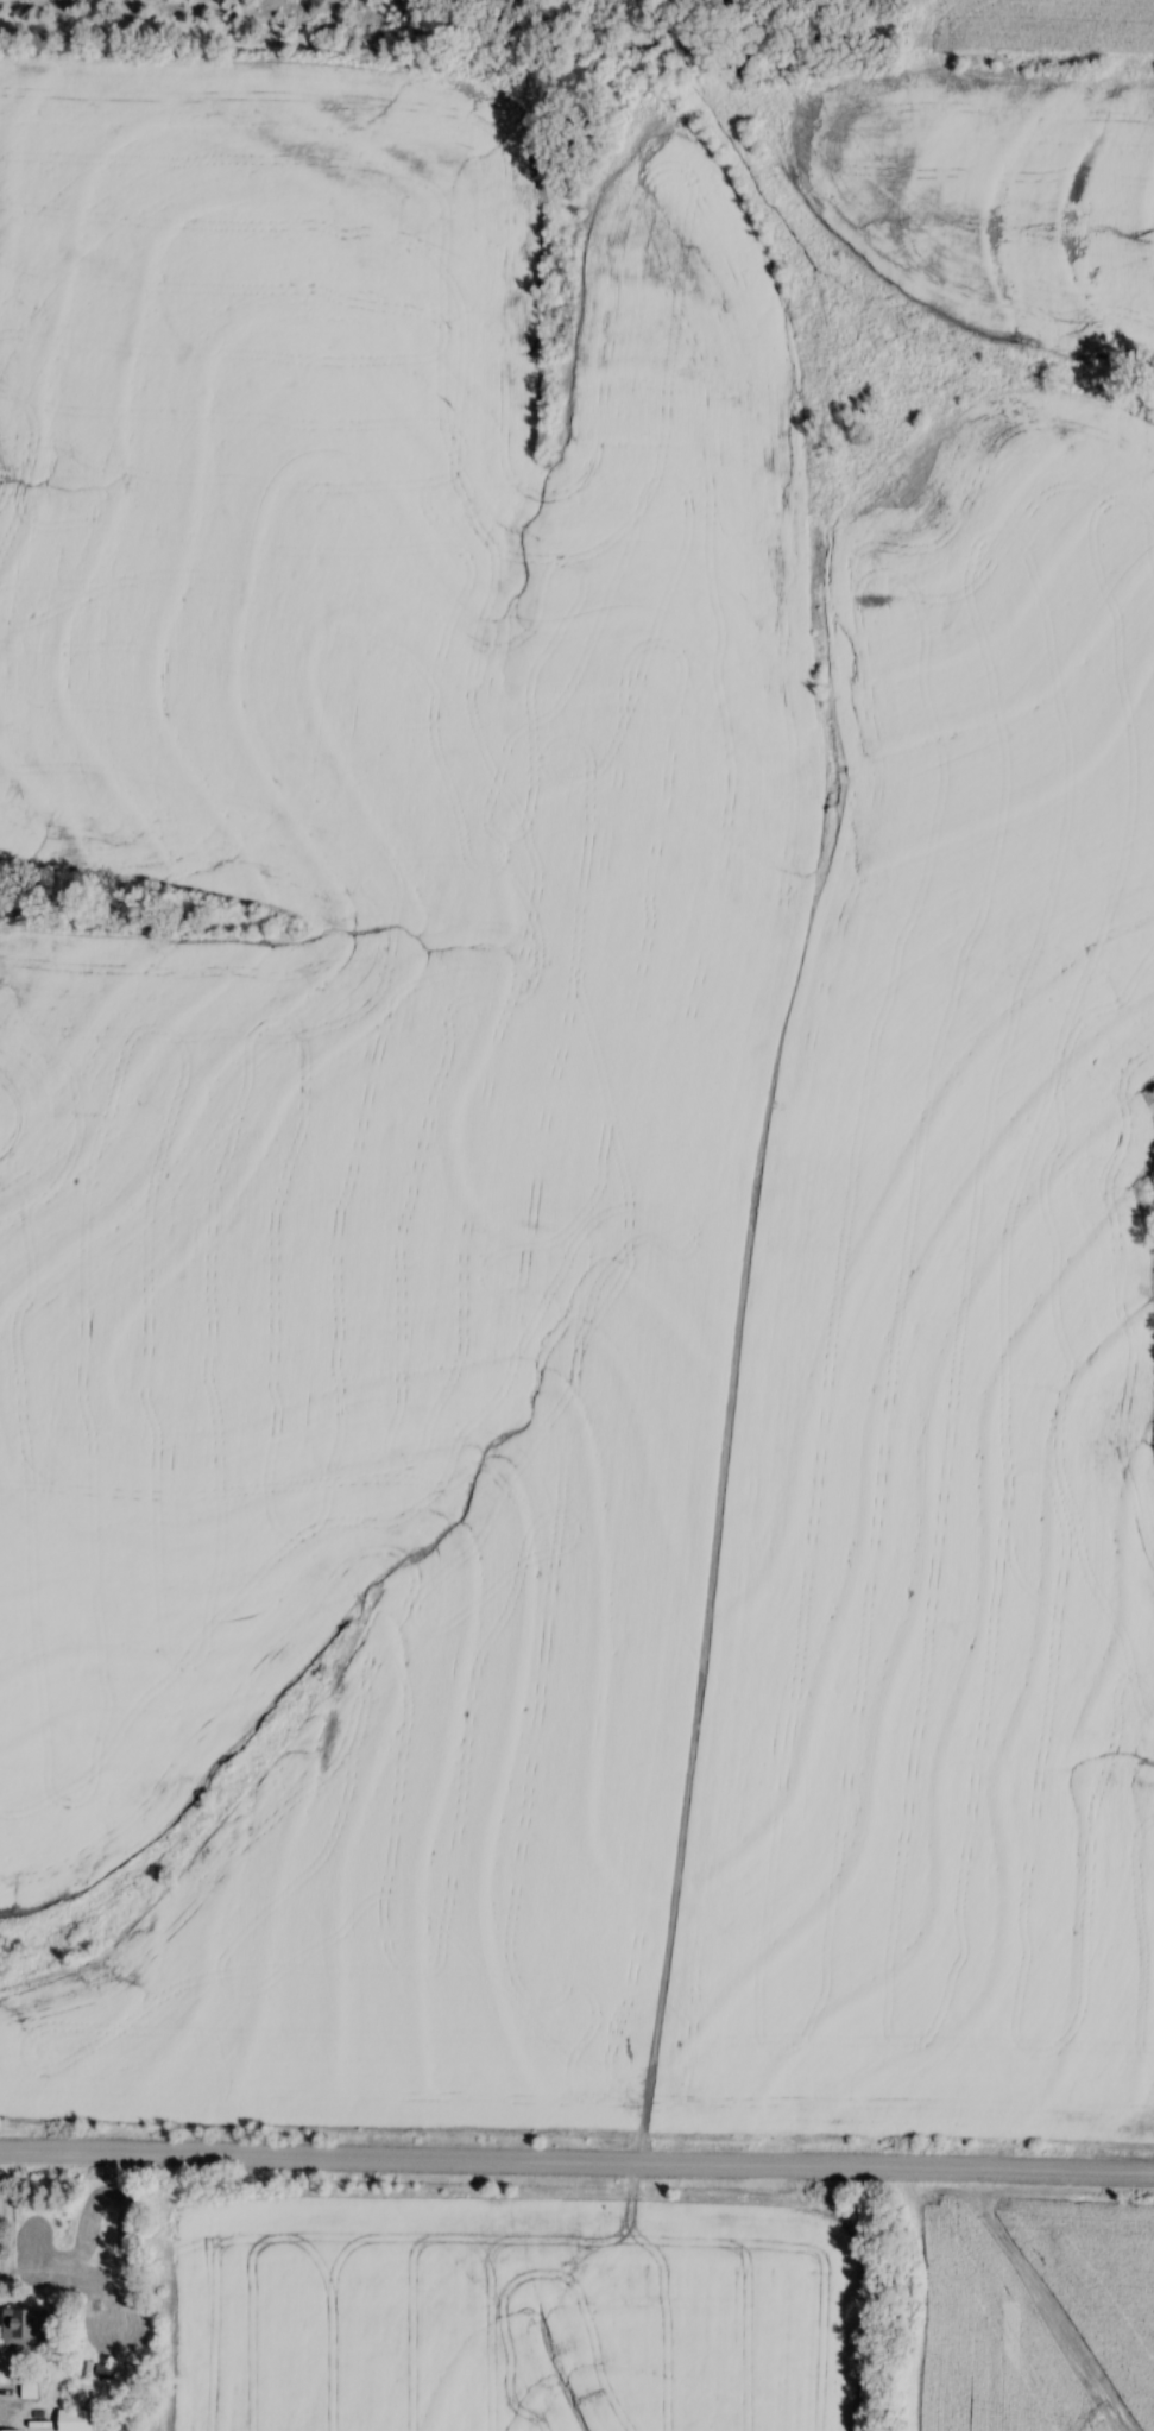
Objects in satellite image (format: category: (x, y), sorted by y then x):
road: (576, 2161)
building: (24, 2324)
building: (102, 2369)
building: (72, 2418)
building: (8, 2429)

